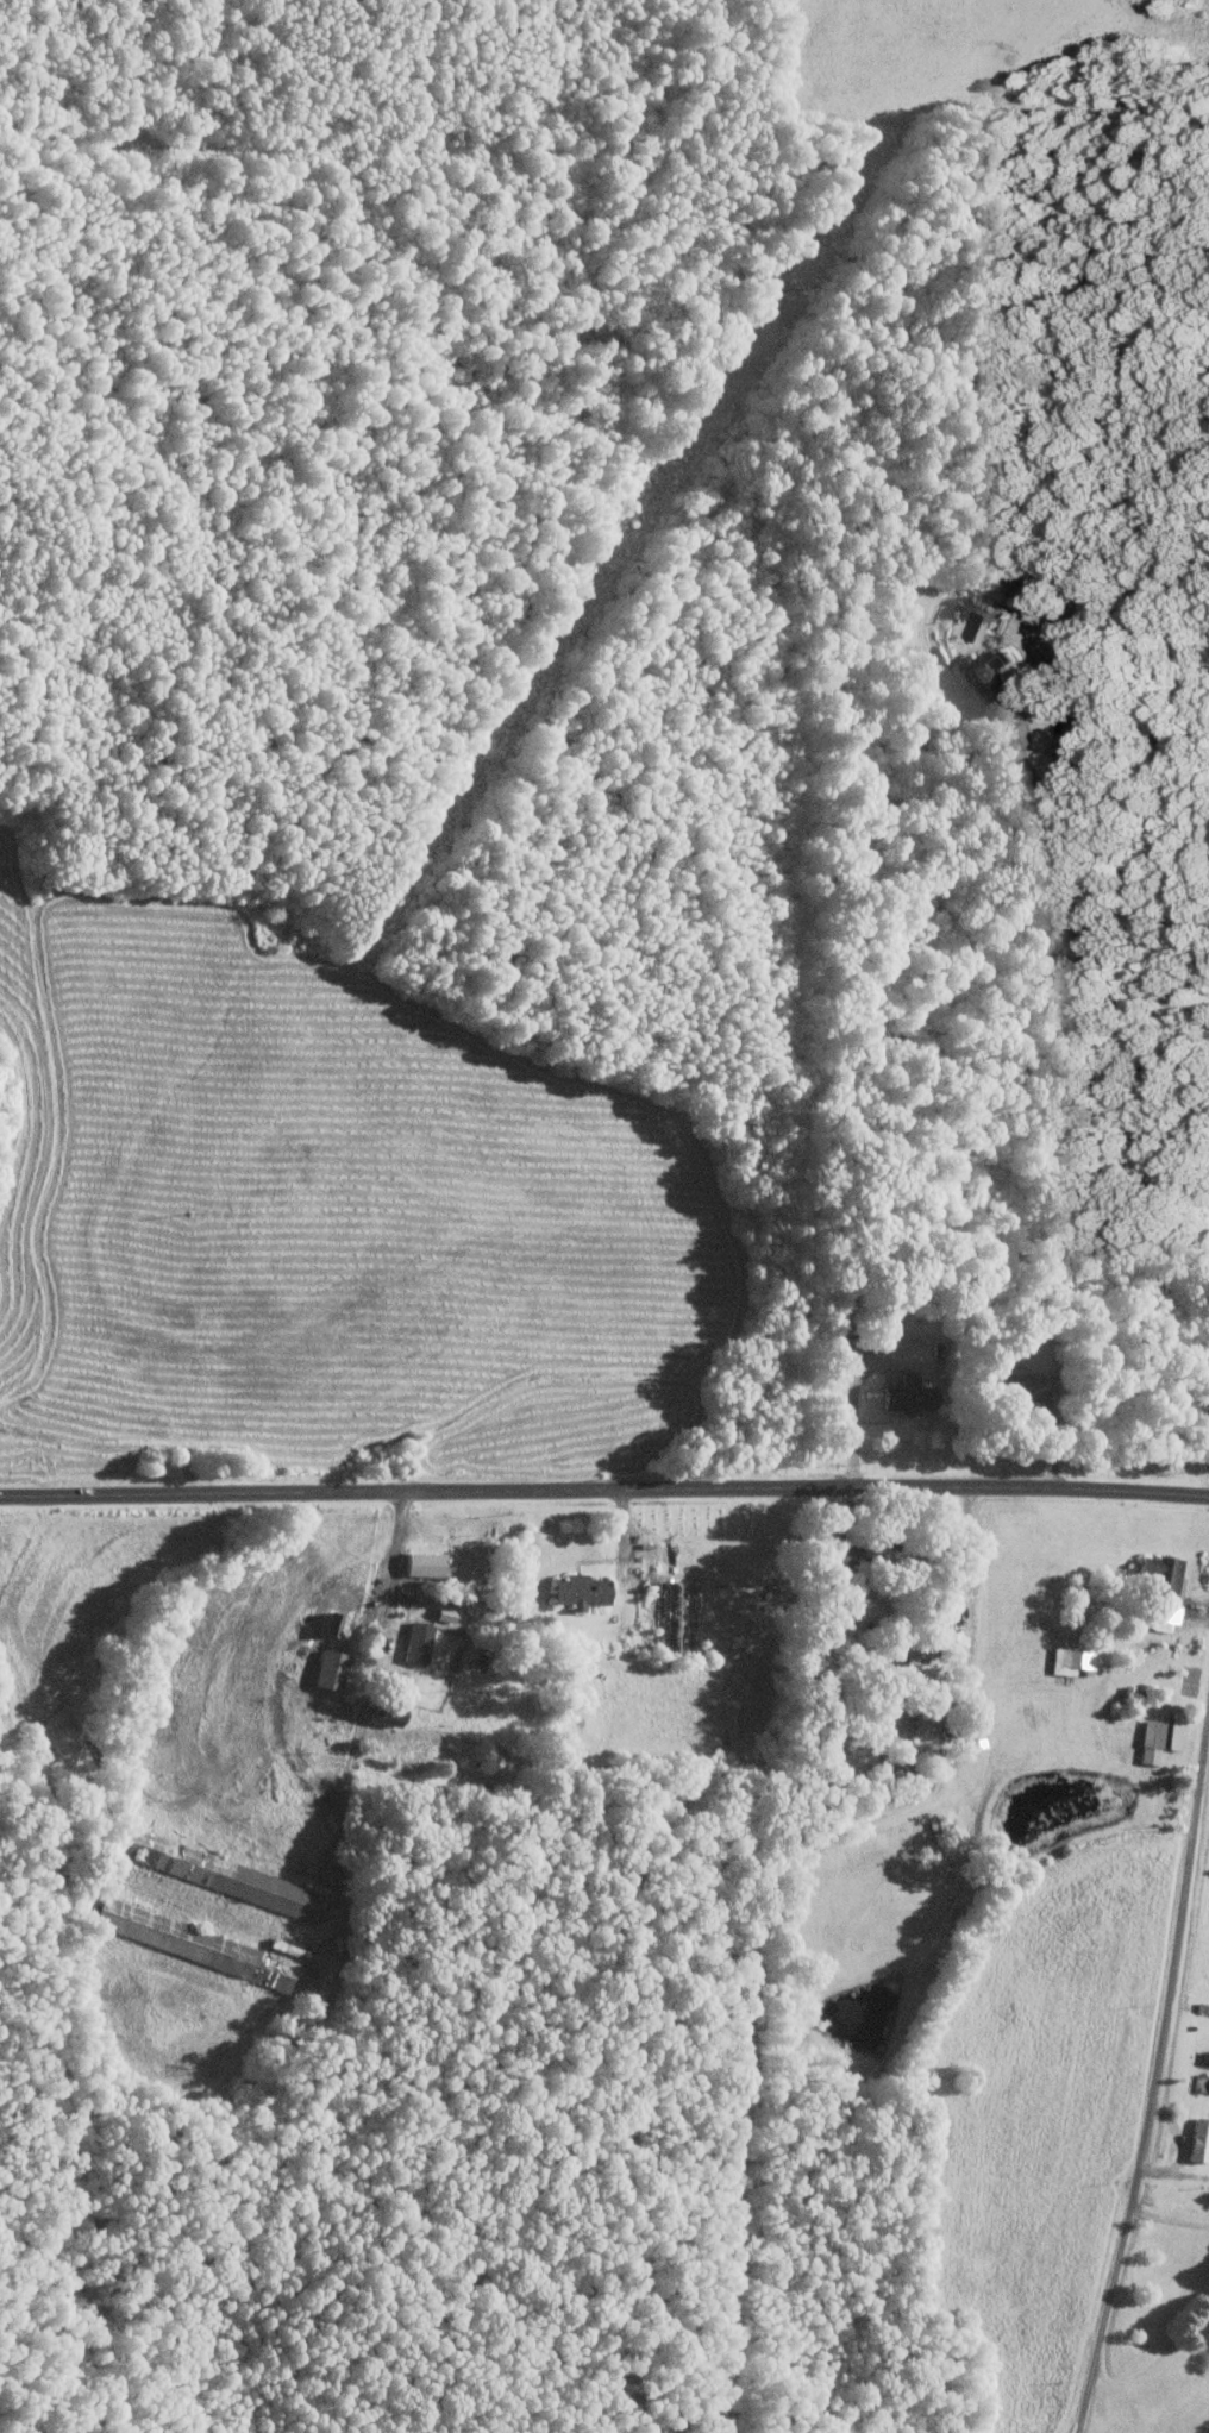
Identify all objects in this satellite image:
road: (1042, 673)
road: (1100, 711)
building: (1021, 1379)
building: (908, 1394)
road: (853, 1403)
road: (604, 1486)
road: (393, 1562)
building: (422, 1563)
building: (1163, 1573)
building: (578, 1589)
building: (444, 1613)
building: (1166, 1616)
building: (330, 1623)
building: (416, 1642)
building: (1071, 1660)
building: (328, 1669)
building: (381, 1712)
building: (1177, 1730)
building: (1152, 1741)
road: (934, 1745)
building: (230, 1876)
building: (193, 1942)
road: (1158, 2077)
building: (1199, 2140)
road: (1170, 2218)

